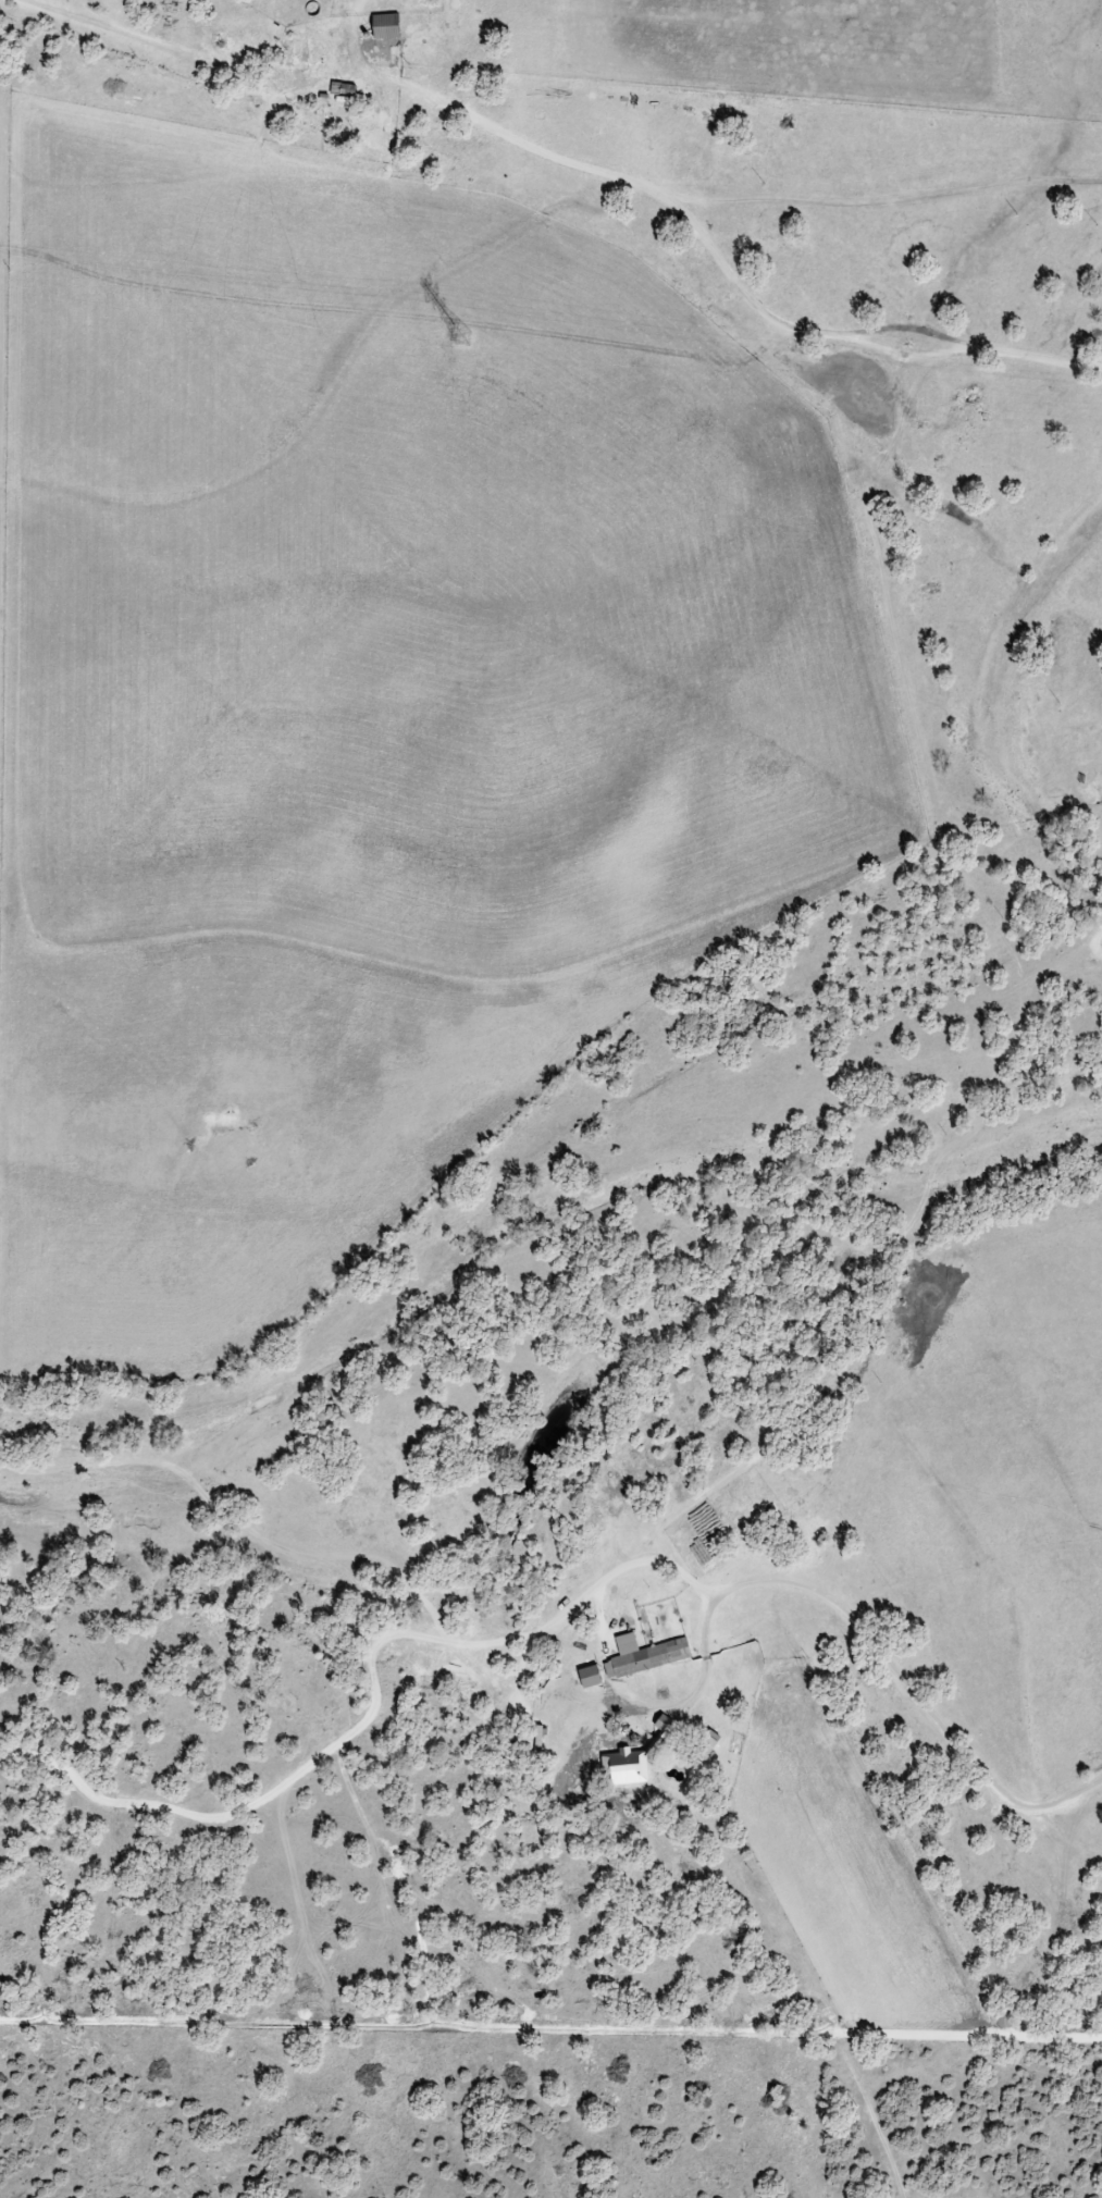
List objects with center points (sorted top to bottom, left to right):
building: (392, 27)
road: (340, 66)
power tower: (460, 341)
road: (867, 1638)
building: (648, 1656)
building: (594, 1677)
road: (373, 1697)
building: (629, 1767)

